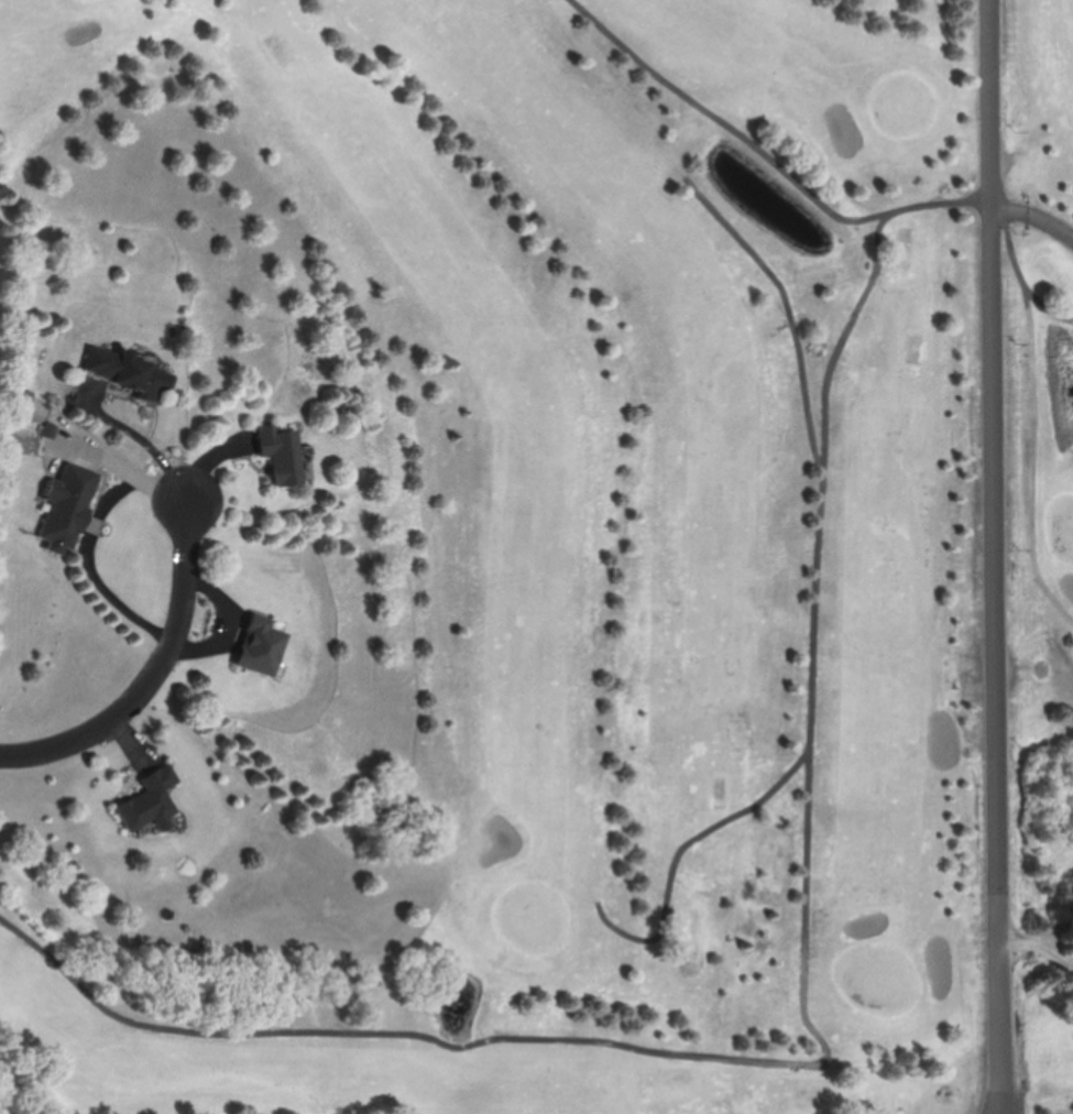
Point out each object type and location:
road: (1034, 215)
park: (1045, 249)
road: (1022, 272)
building: (123, 372)
building: (277, 454)
building: (63, 506)
road: (89, 544)
road: (996, 557)
park: (602, 561)
building: (255, 646)
road: (155, 675)
building: (145, 799)
park: (1037, 935)
road: (1040, 948)
road: (1001, 1105)

